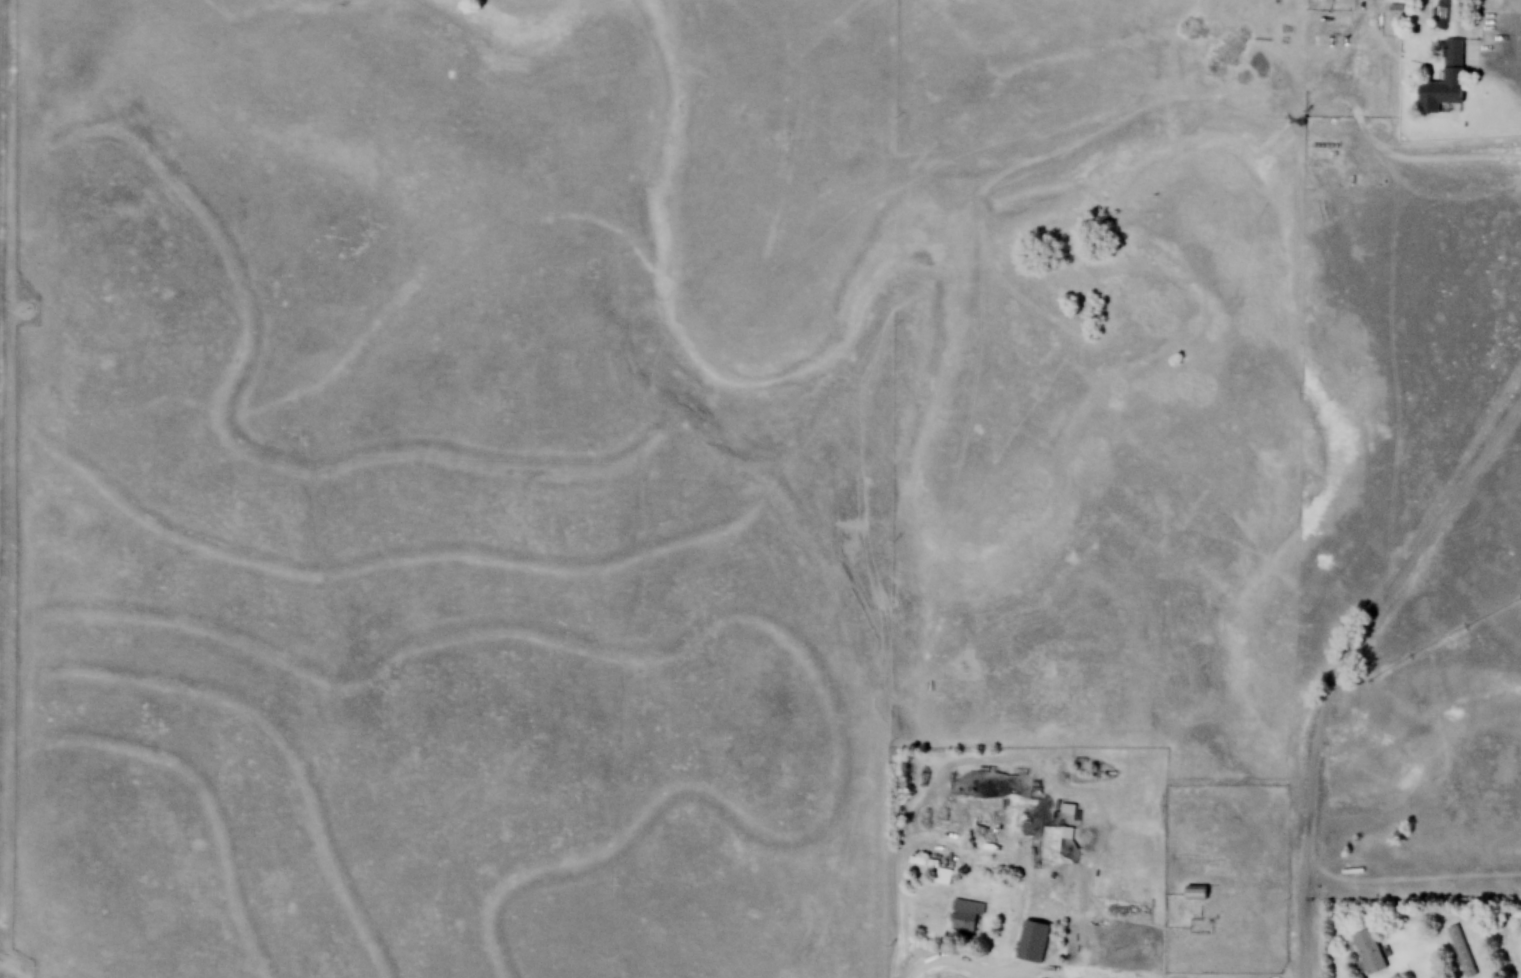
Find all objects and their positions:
building: (1454, 52)
building: (1443, 93)
road: (1517, 96)
road: (1412, 554)
road: (1311, 852)
building: (920, 862)
building: (1195, 893)
building: (965, 917)
building: (1032, 940)
building: (1368, 952)
road: (927, 964)
road: (964, 967)
road: (9, 972)

